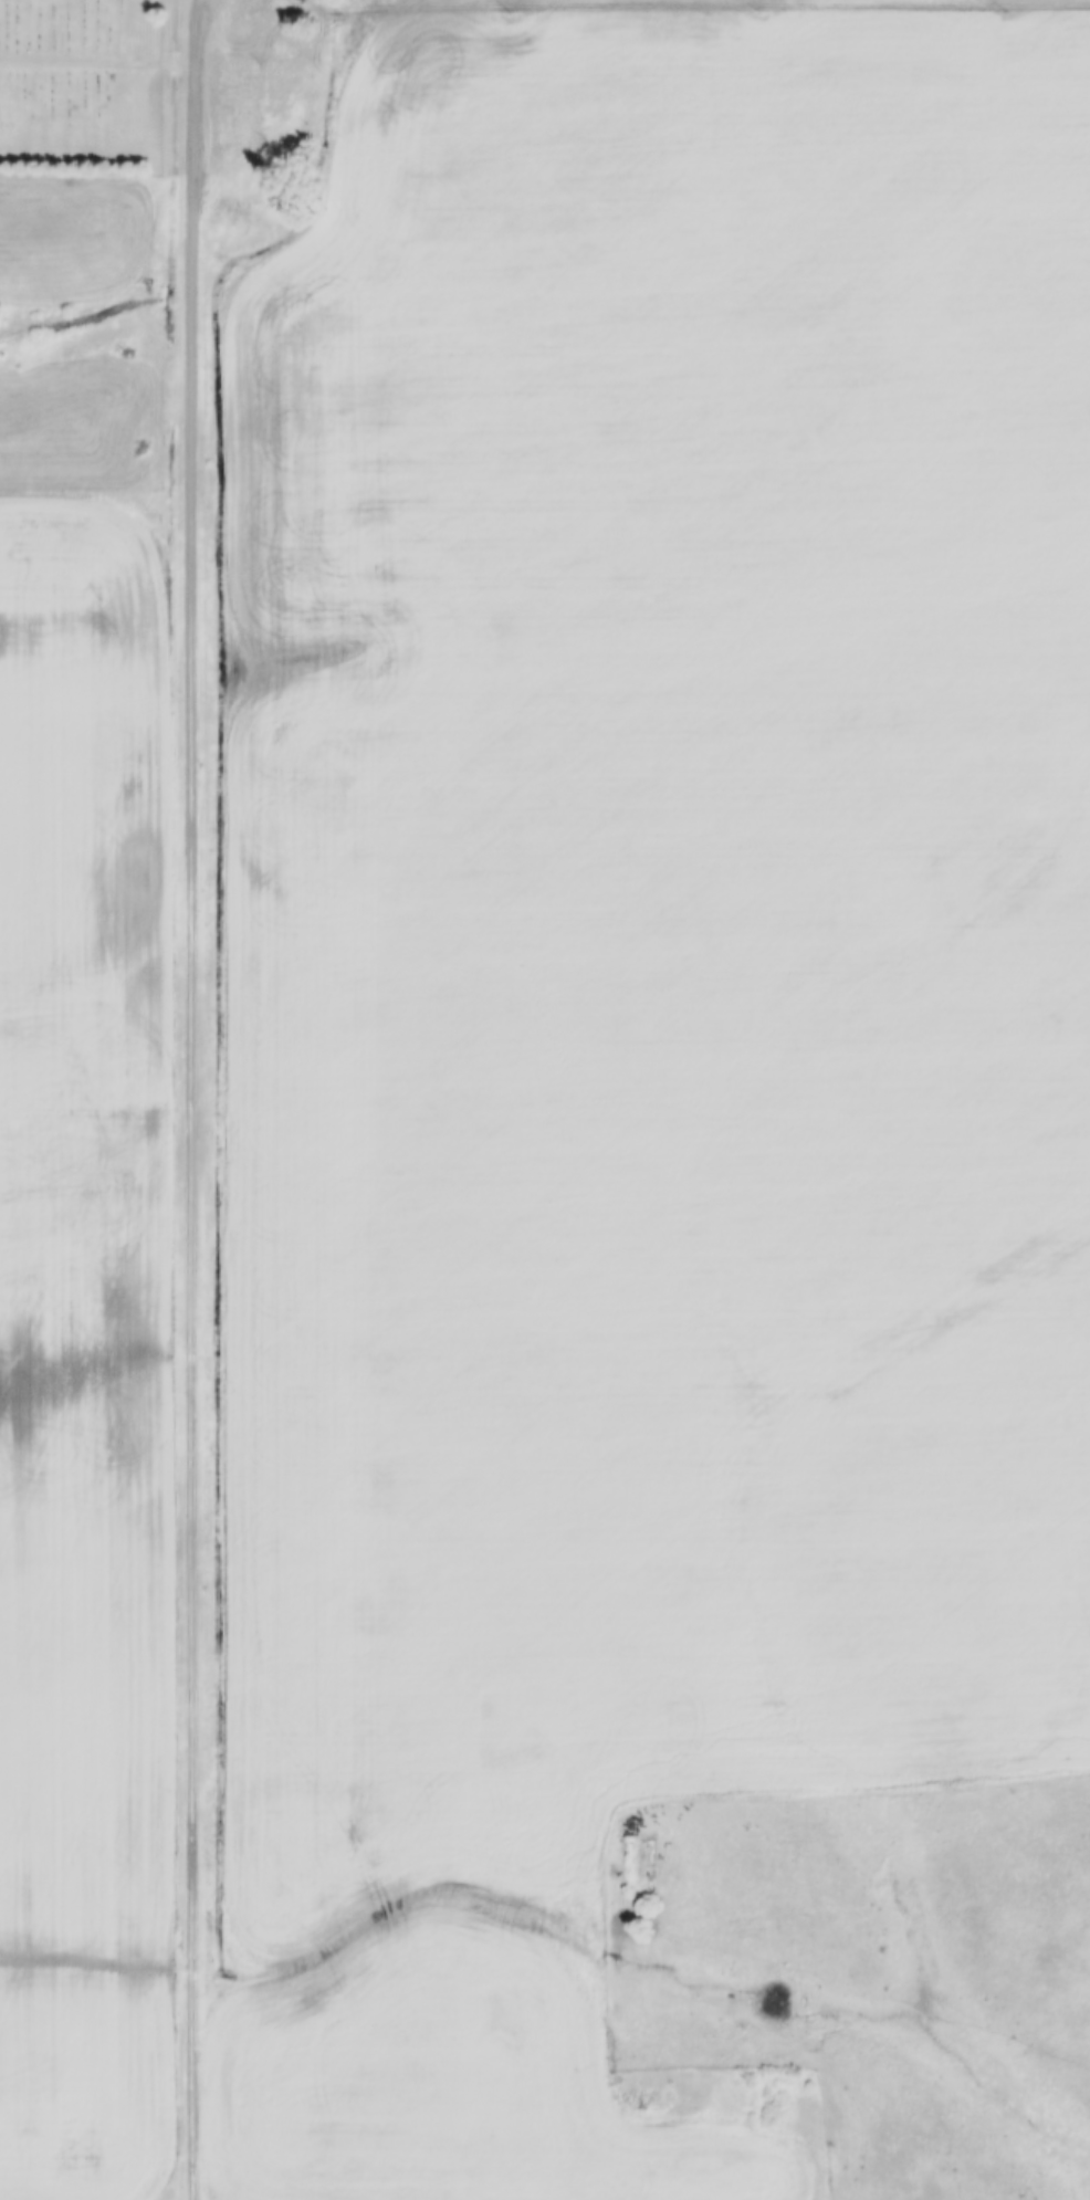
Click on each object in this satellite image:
road: (193, 30)
road: (96, 61)
park: (82, 86)
road: (193, 1130)

